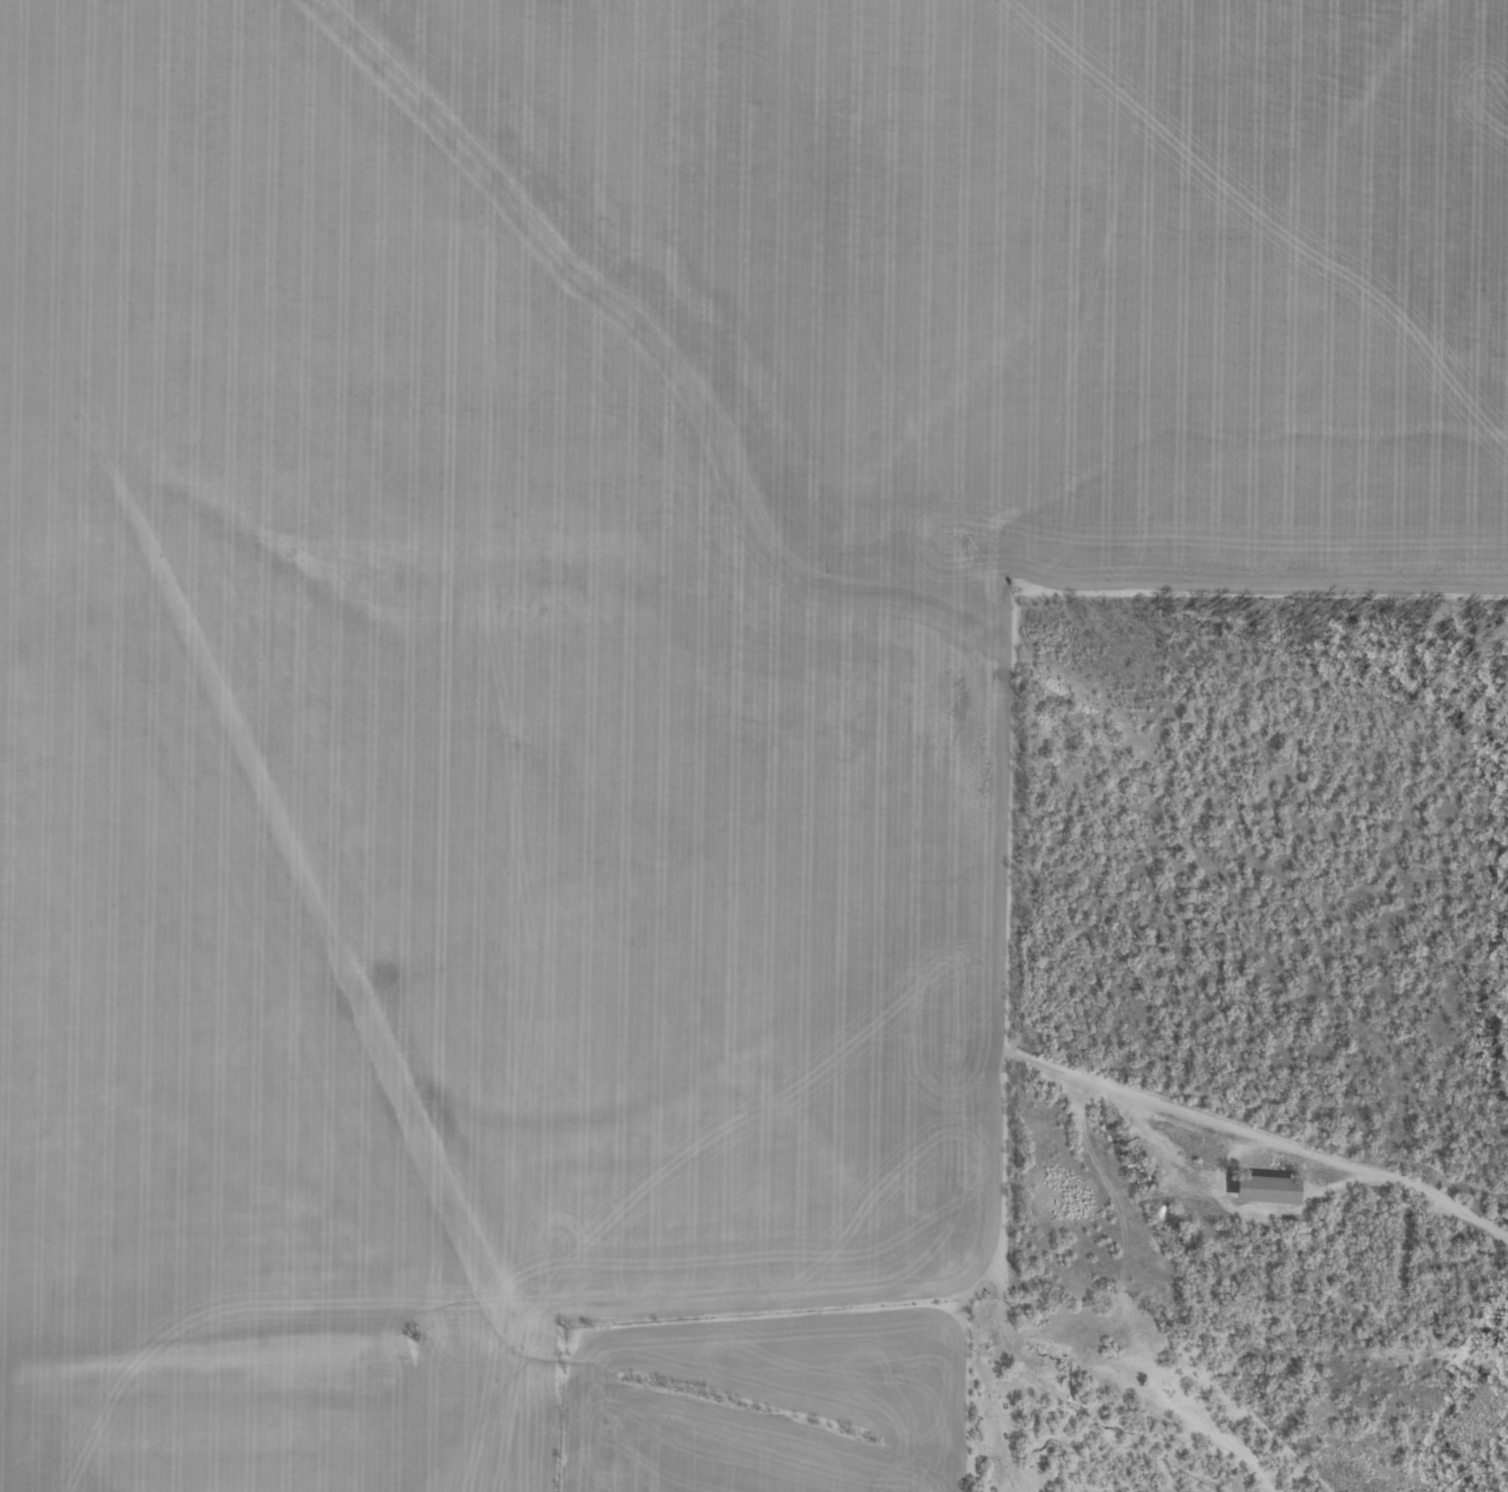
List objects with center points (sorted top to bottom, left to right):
road: (1260, 1140)
building: (1270, 1191)

